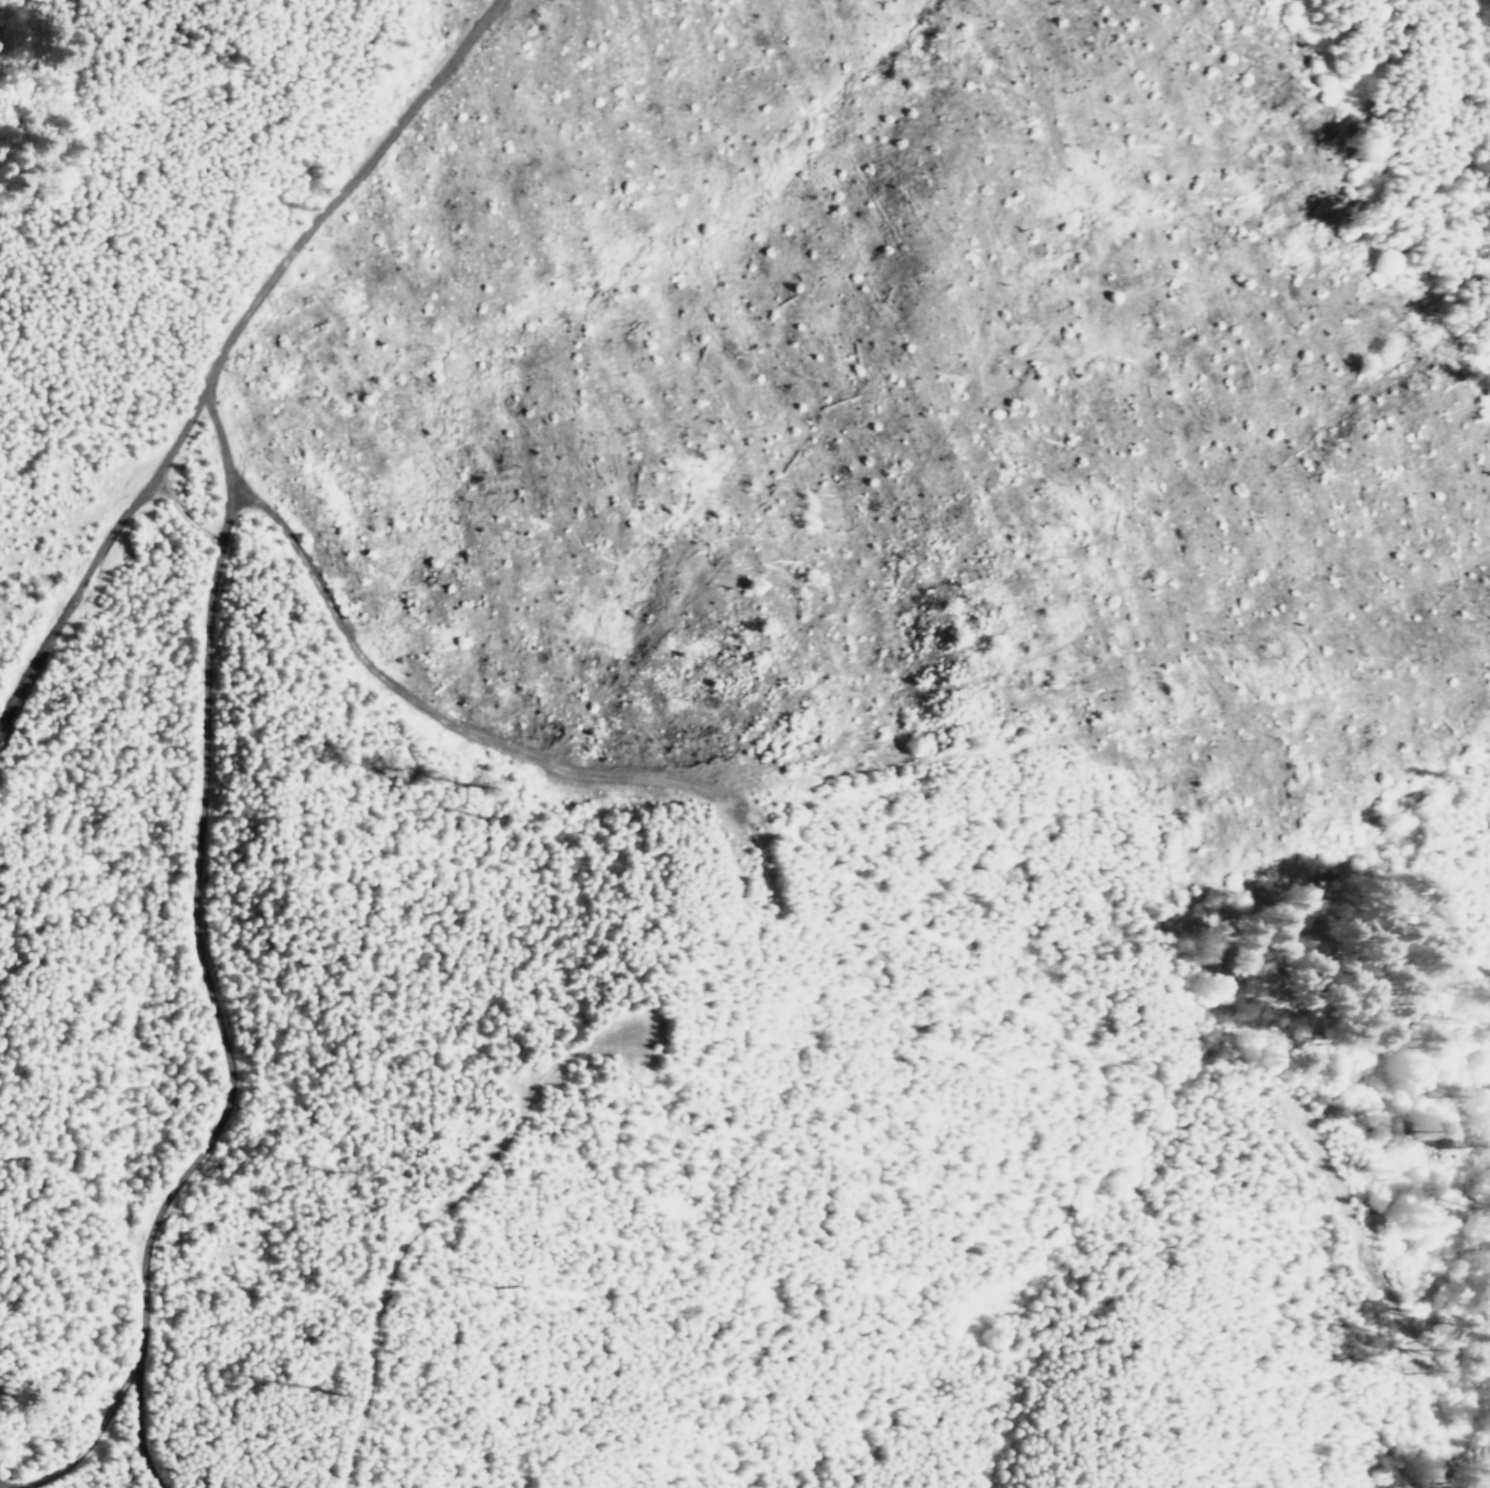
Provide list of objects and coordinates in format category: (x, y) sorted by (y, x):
road: (203, 714)
road: (60, 1452)
road: (8, 1487)

